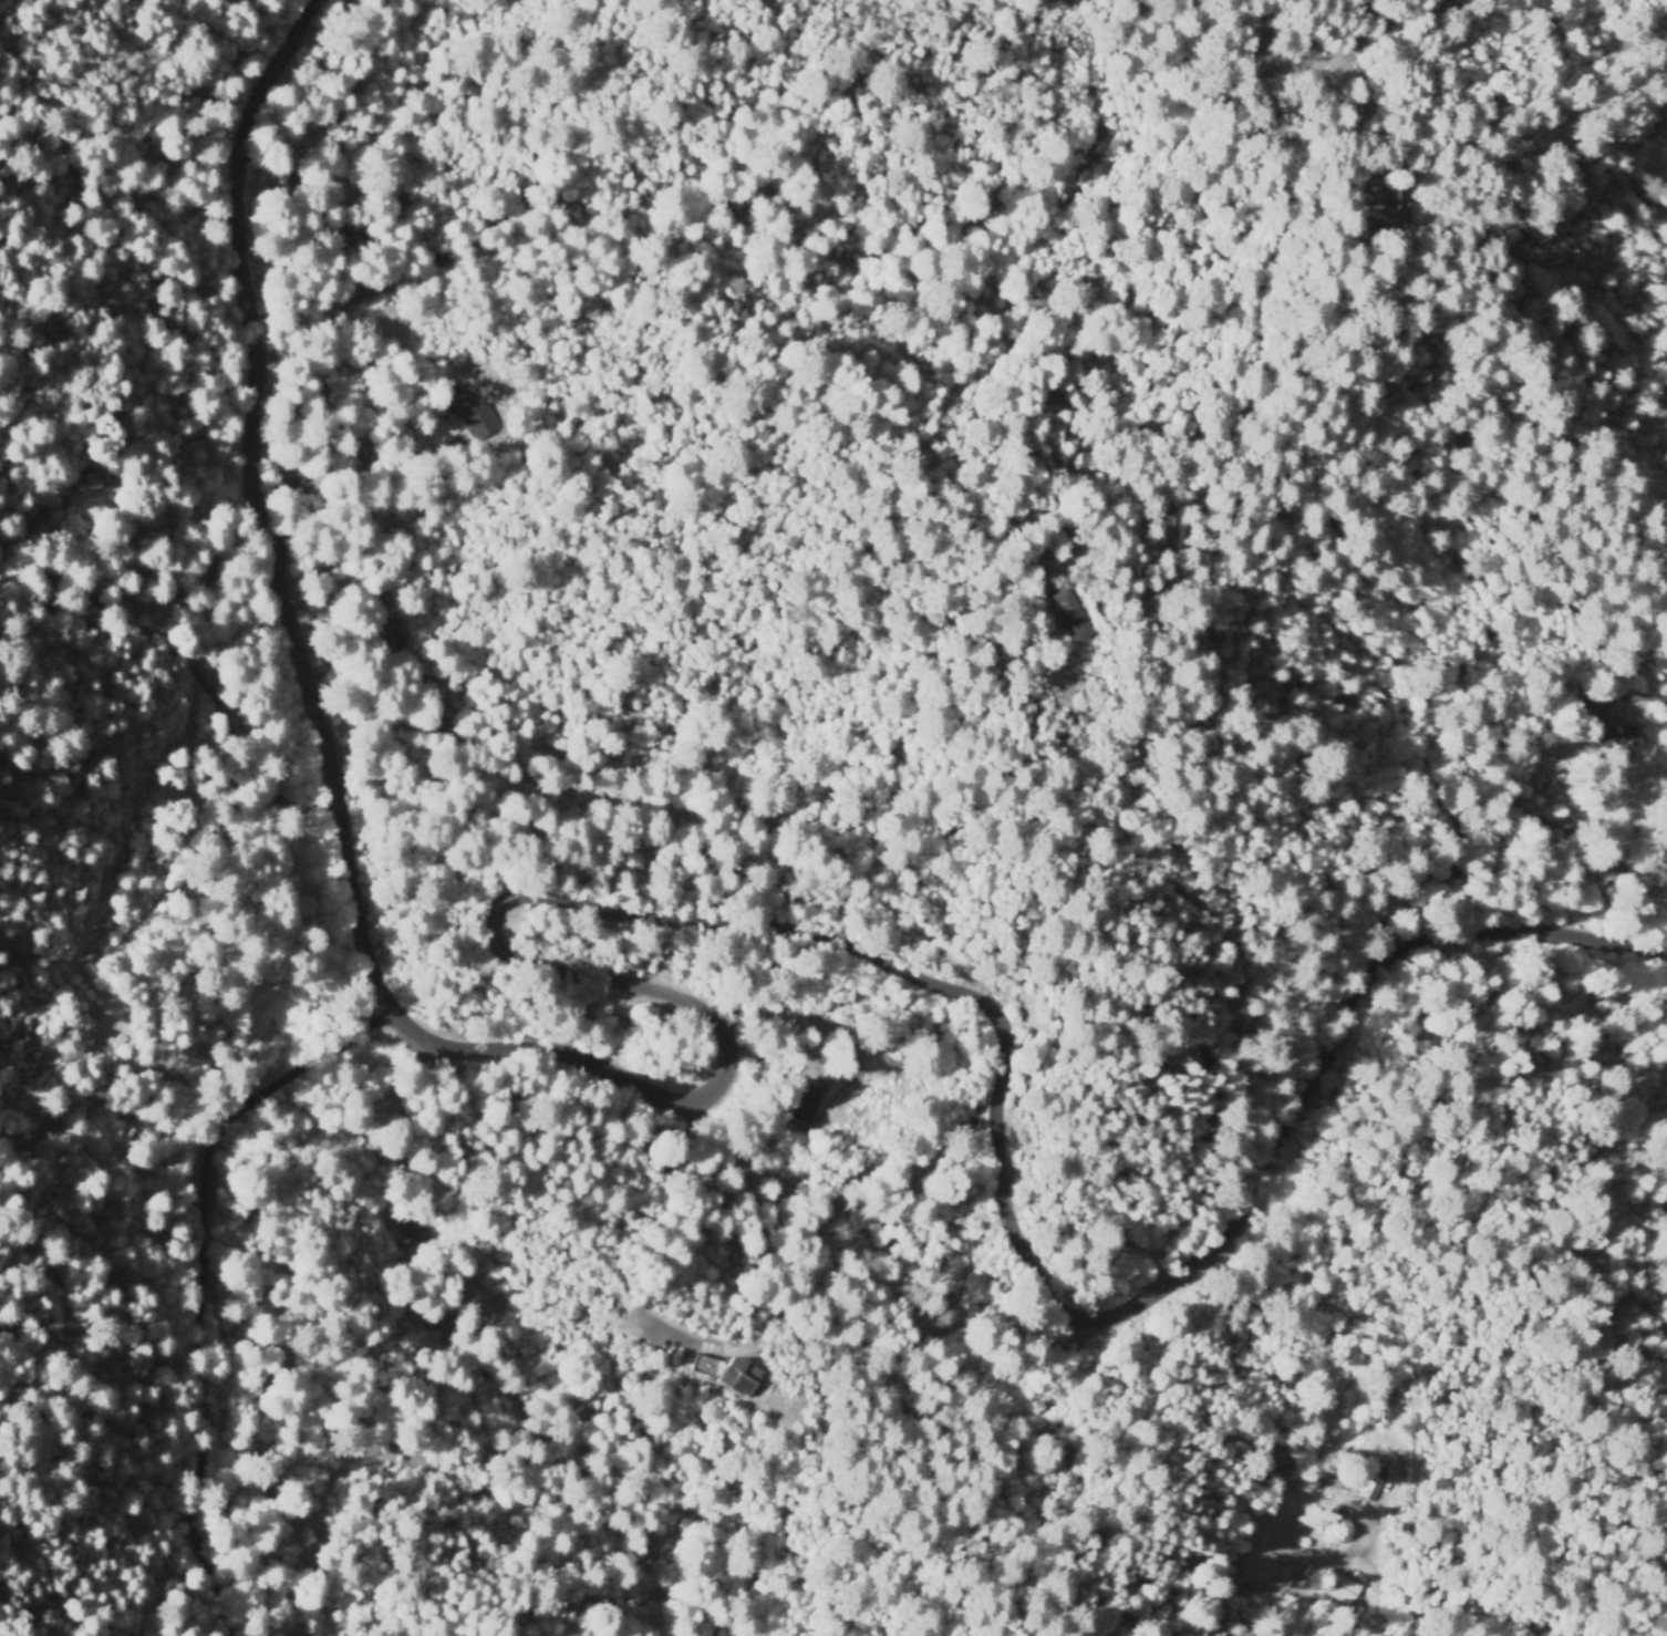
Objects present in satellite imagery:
building: (332, 185)
building: (1390, 204)
building: (479, 420)
building: (92, 483)
building: (1043, 559)
building: (1153, 610)
building: (1070, 617)
building: (1624, 743)
building: (1458, 847)
road: (538, 954)
road: (817, 1019)
building: (805, 1104)
building: (445, 1311)
building: (726, 1375)
building: (371, 1446)
building: (1370, 1488)
building: (1344, 1590)

